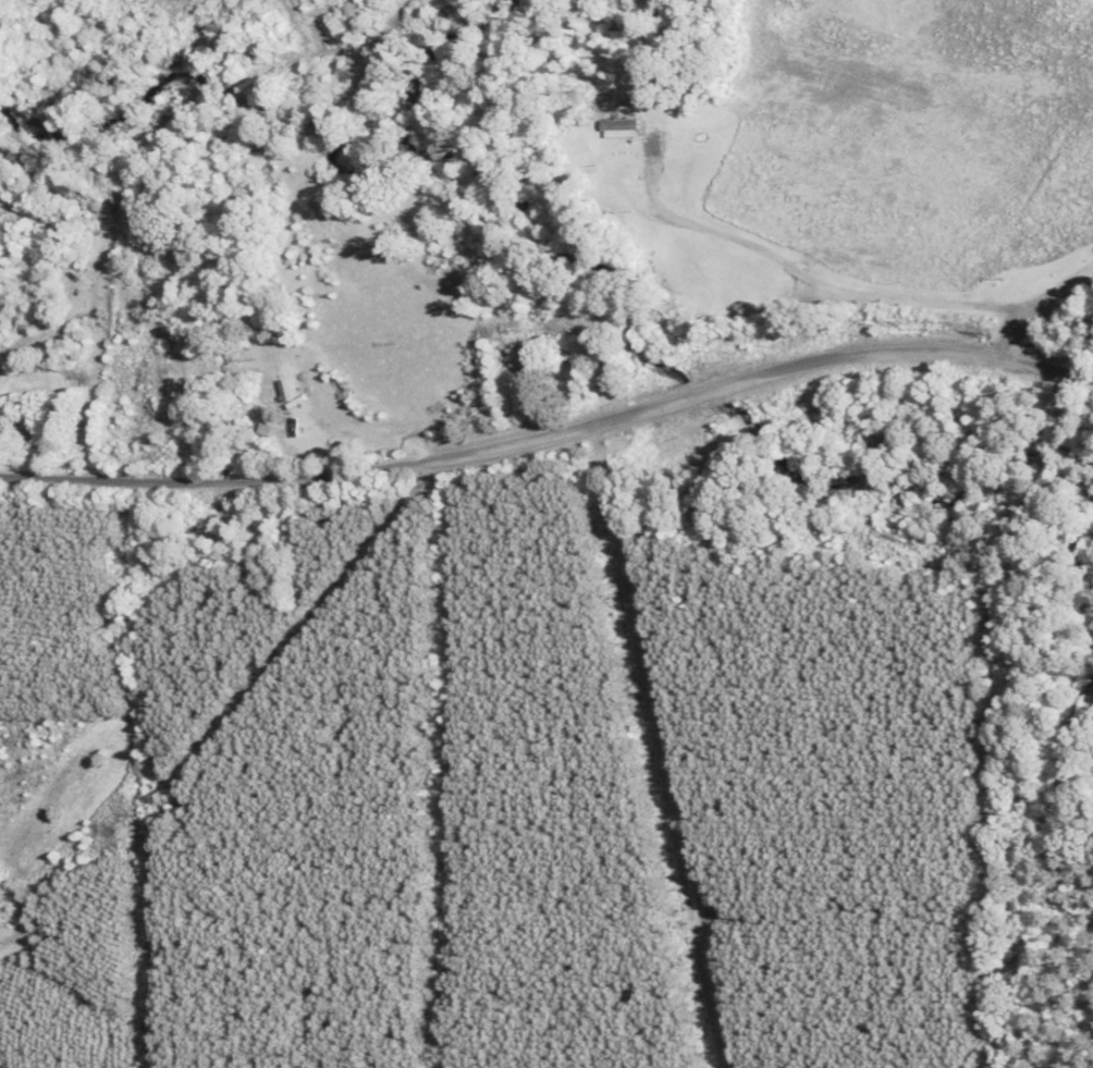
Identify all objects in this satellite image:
building: (618, 126)
road: (60, 391)
road: (550, 430)

